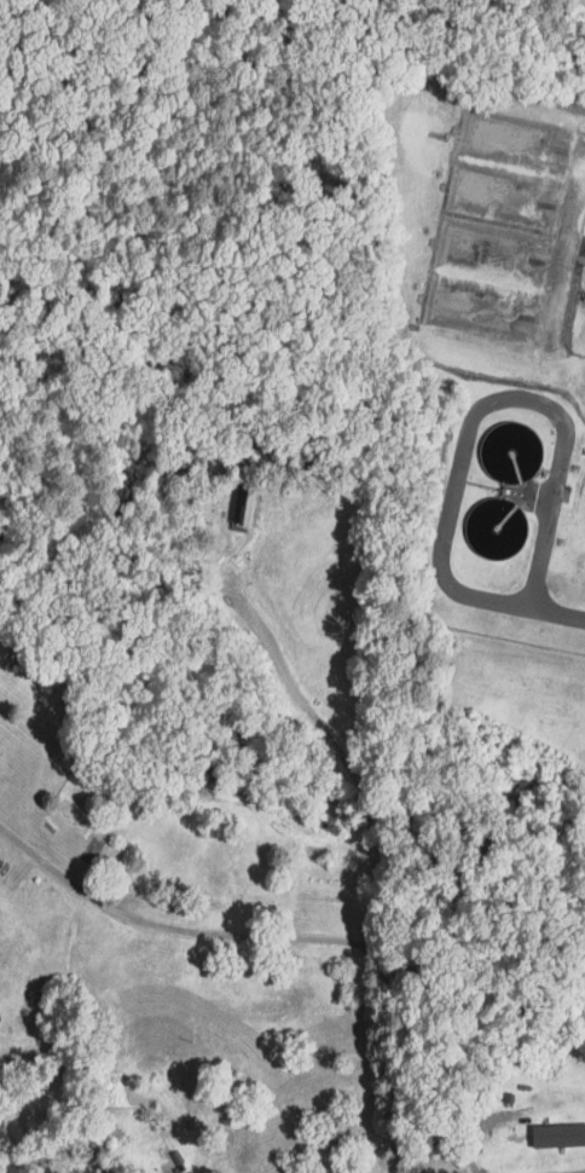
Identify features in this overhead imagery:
road: (297, 919)
building: (539, 1133)
road: (580, 1172)

